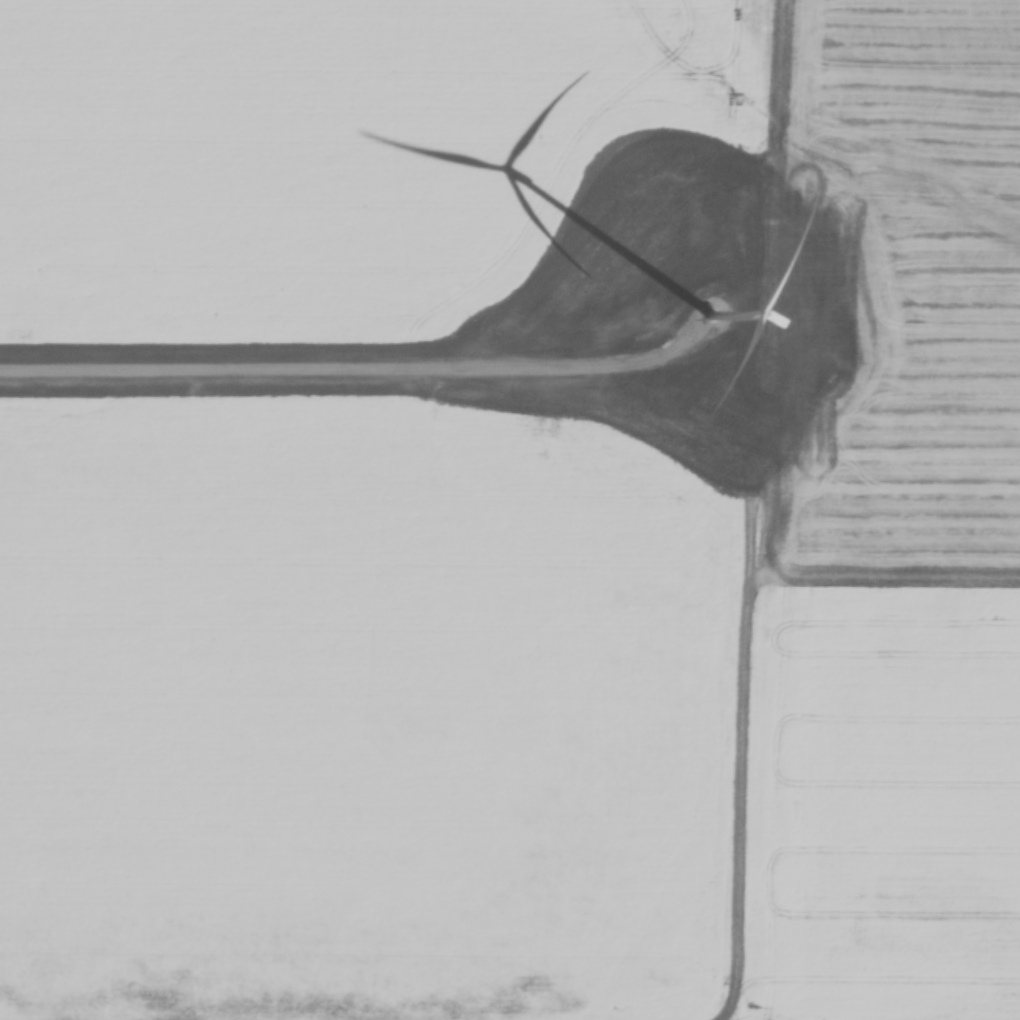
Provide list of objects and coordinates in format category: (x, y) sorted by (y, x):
wind turbine: (711, 314)

